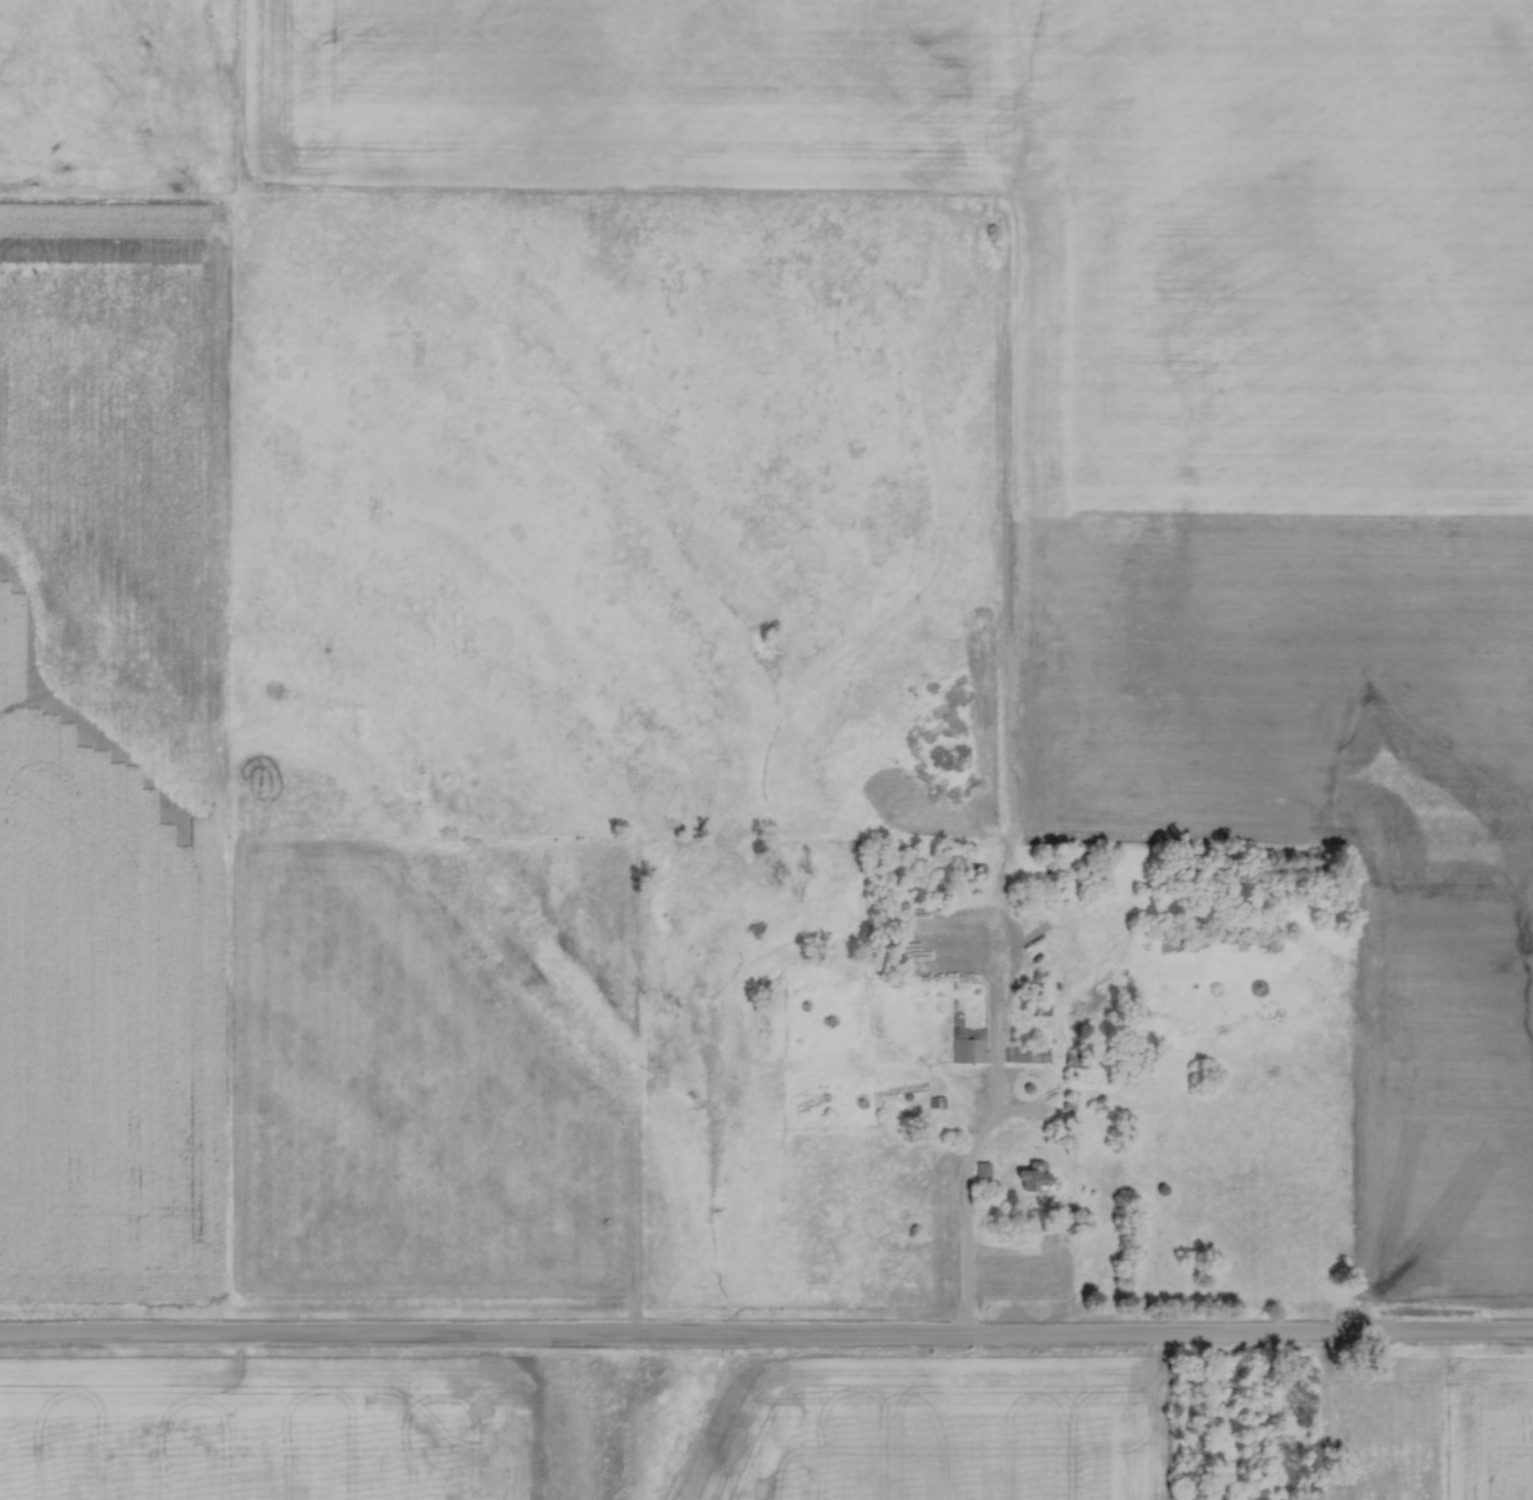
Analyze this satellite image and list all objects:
building: (969, 1046)
building: (1029, 1055)
building: (983, 1172)
building: (1031, 1178)
building: (1160, 1191)
road: (966, 1205)
road: (766, 1340)

